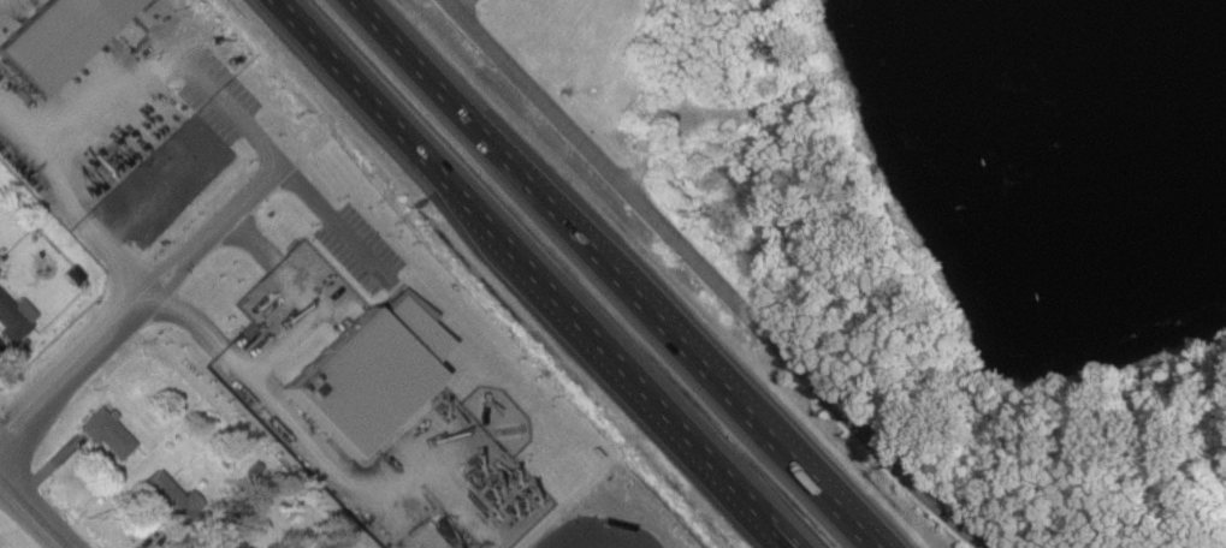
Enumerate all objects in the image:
road: (458, 4)
building: (60, 37)
road: (195, 76)
road: (327, 210)
road: (534, 273)
road: (621, 274)
road: (713, 276)
building: (14, 316)
road: (277, 328)
road: (116, 333)
building: (384, 365)
building: (106, 433)
building: (171, 499)
road: (32, 514)
road: (599, 535)
building: (223, 544)
building: (238, 546)

